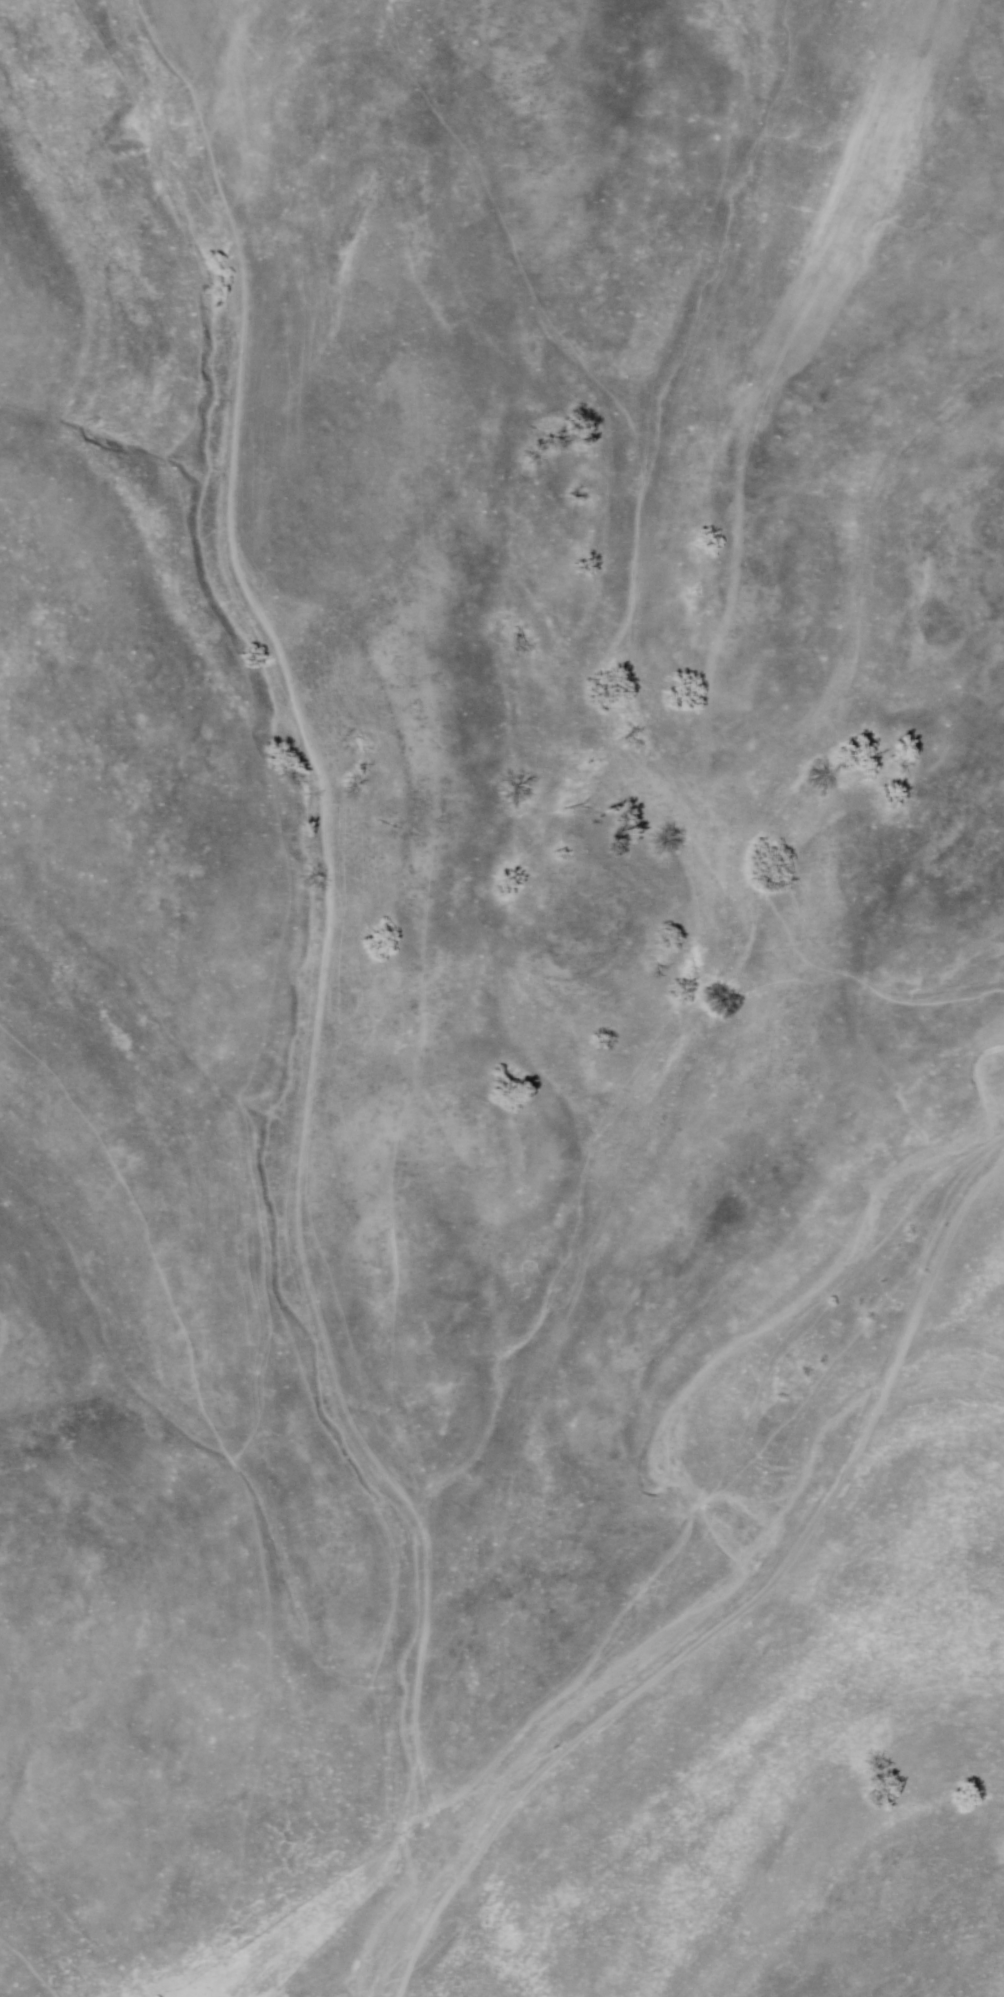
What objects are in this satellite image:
road: (931, 1267)
road: (944, 1391)
road: (638, 1691)

